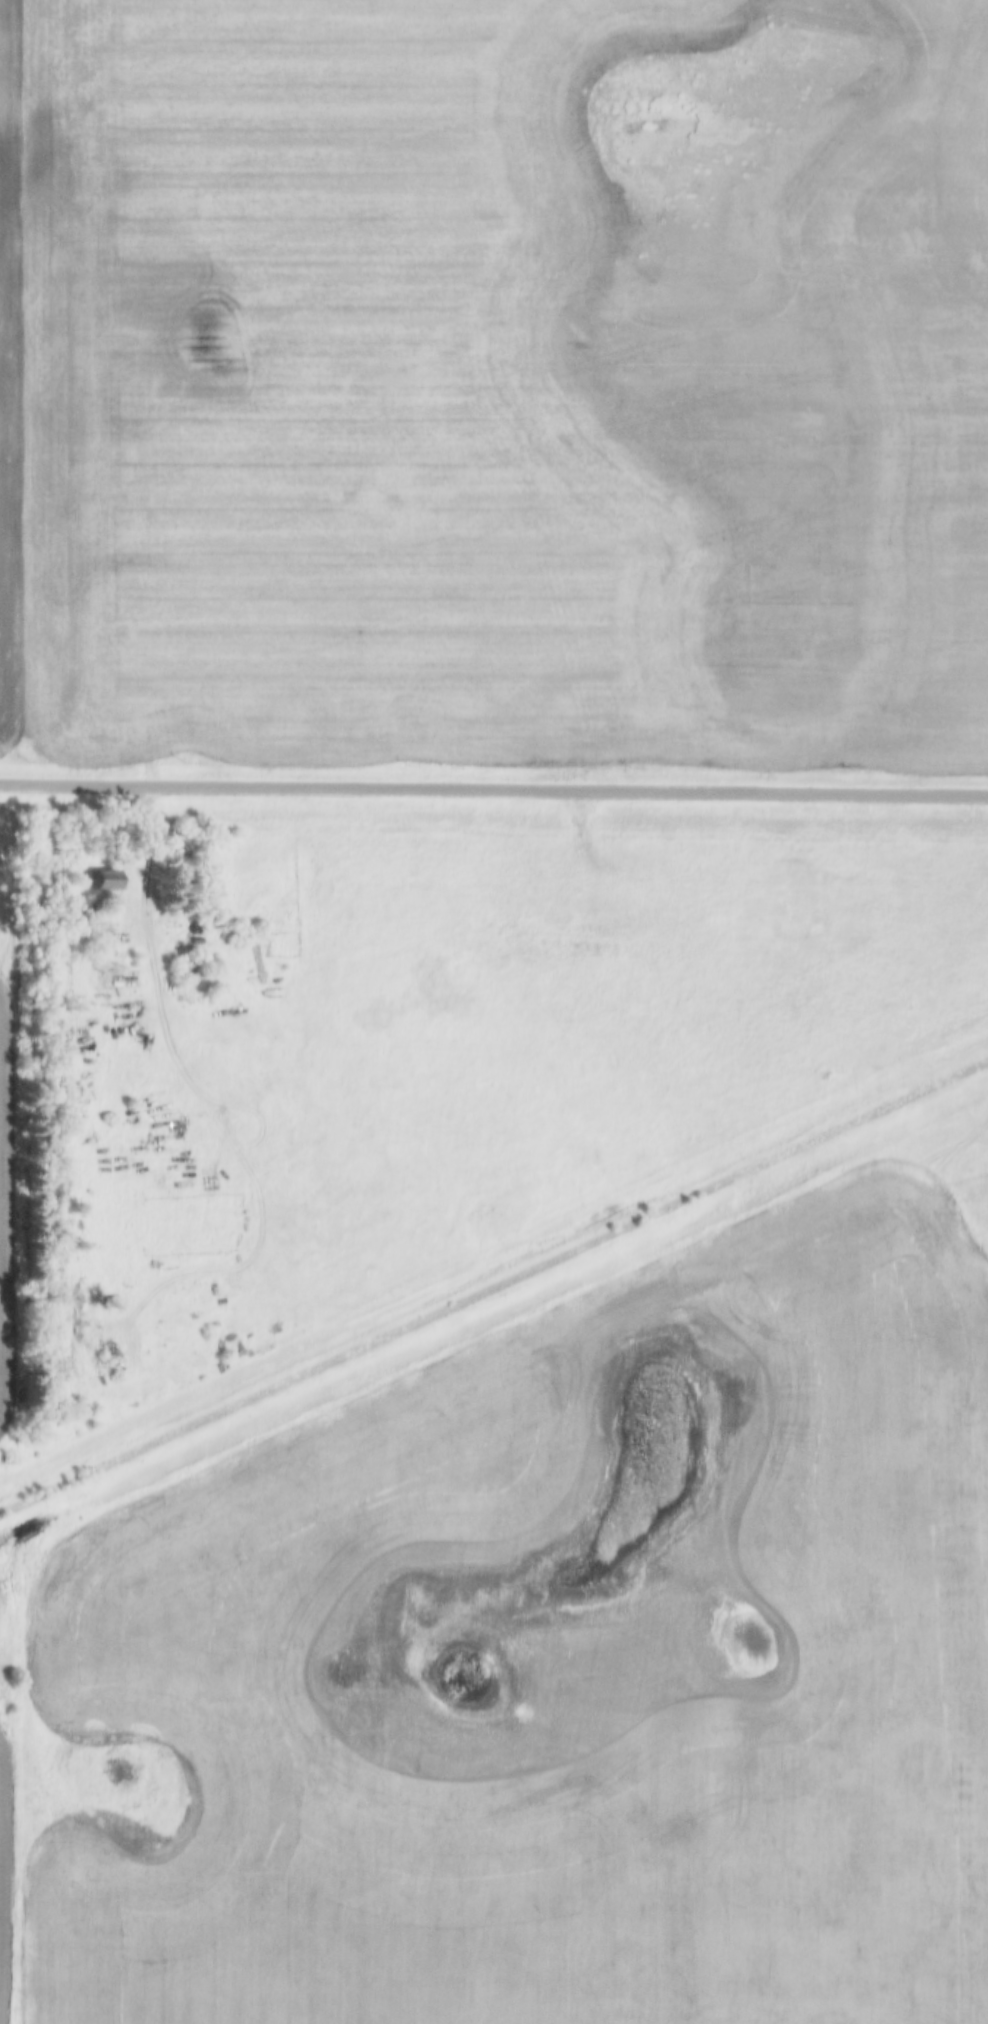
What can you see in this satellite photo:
road: (494, 791)
building: (107, 881)
building: (196, 929)
building: (189, 966)
building: (78, 1016)

